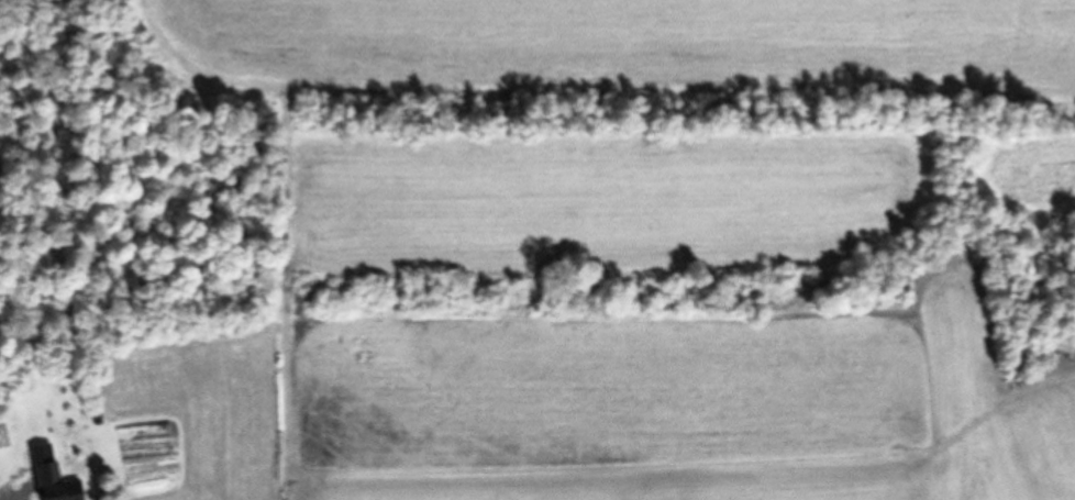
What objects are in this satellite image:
building: (53, 484)

